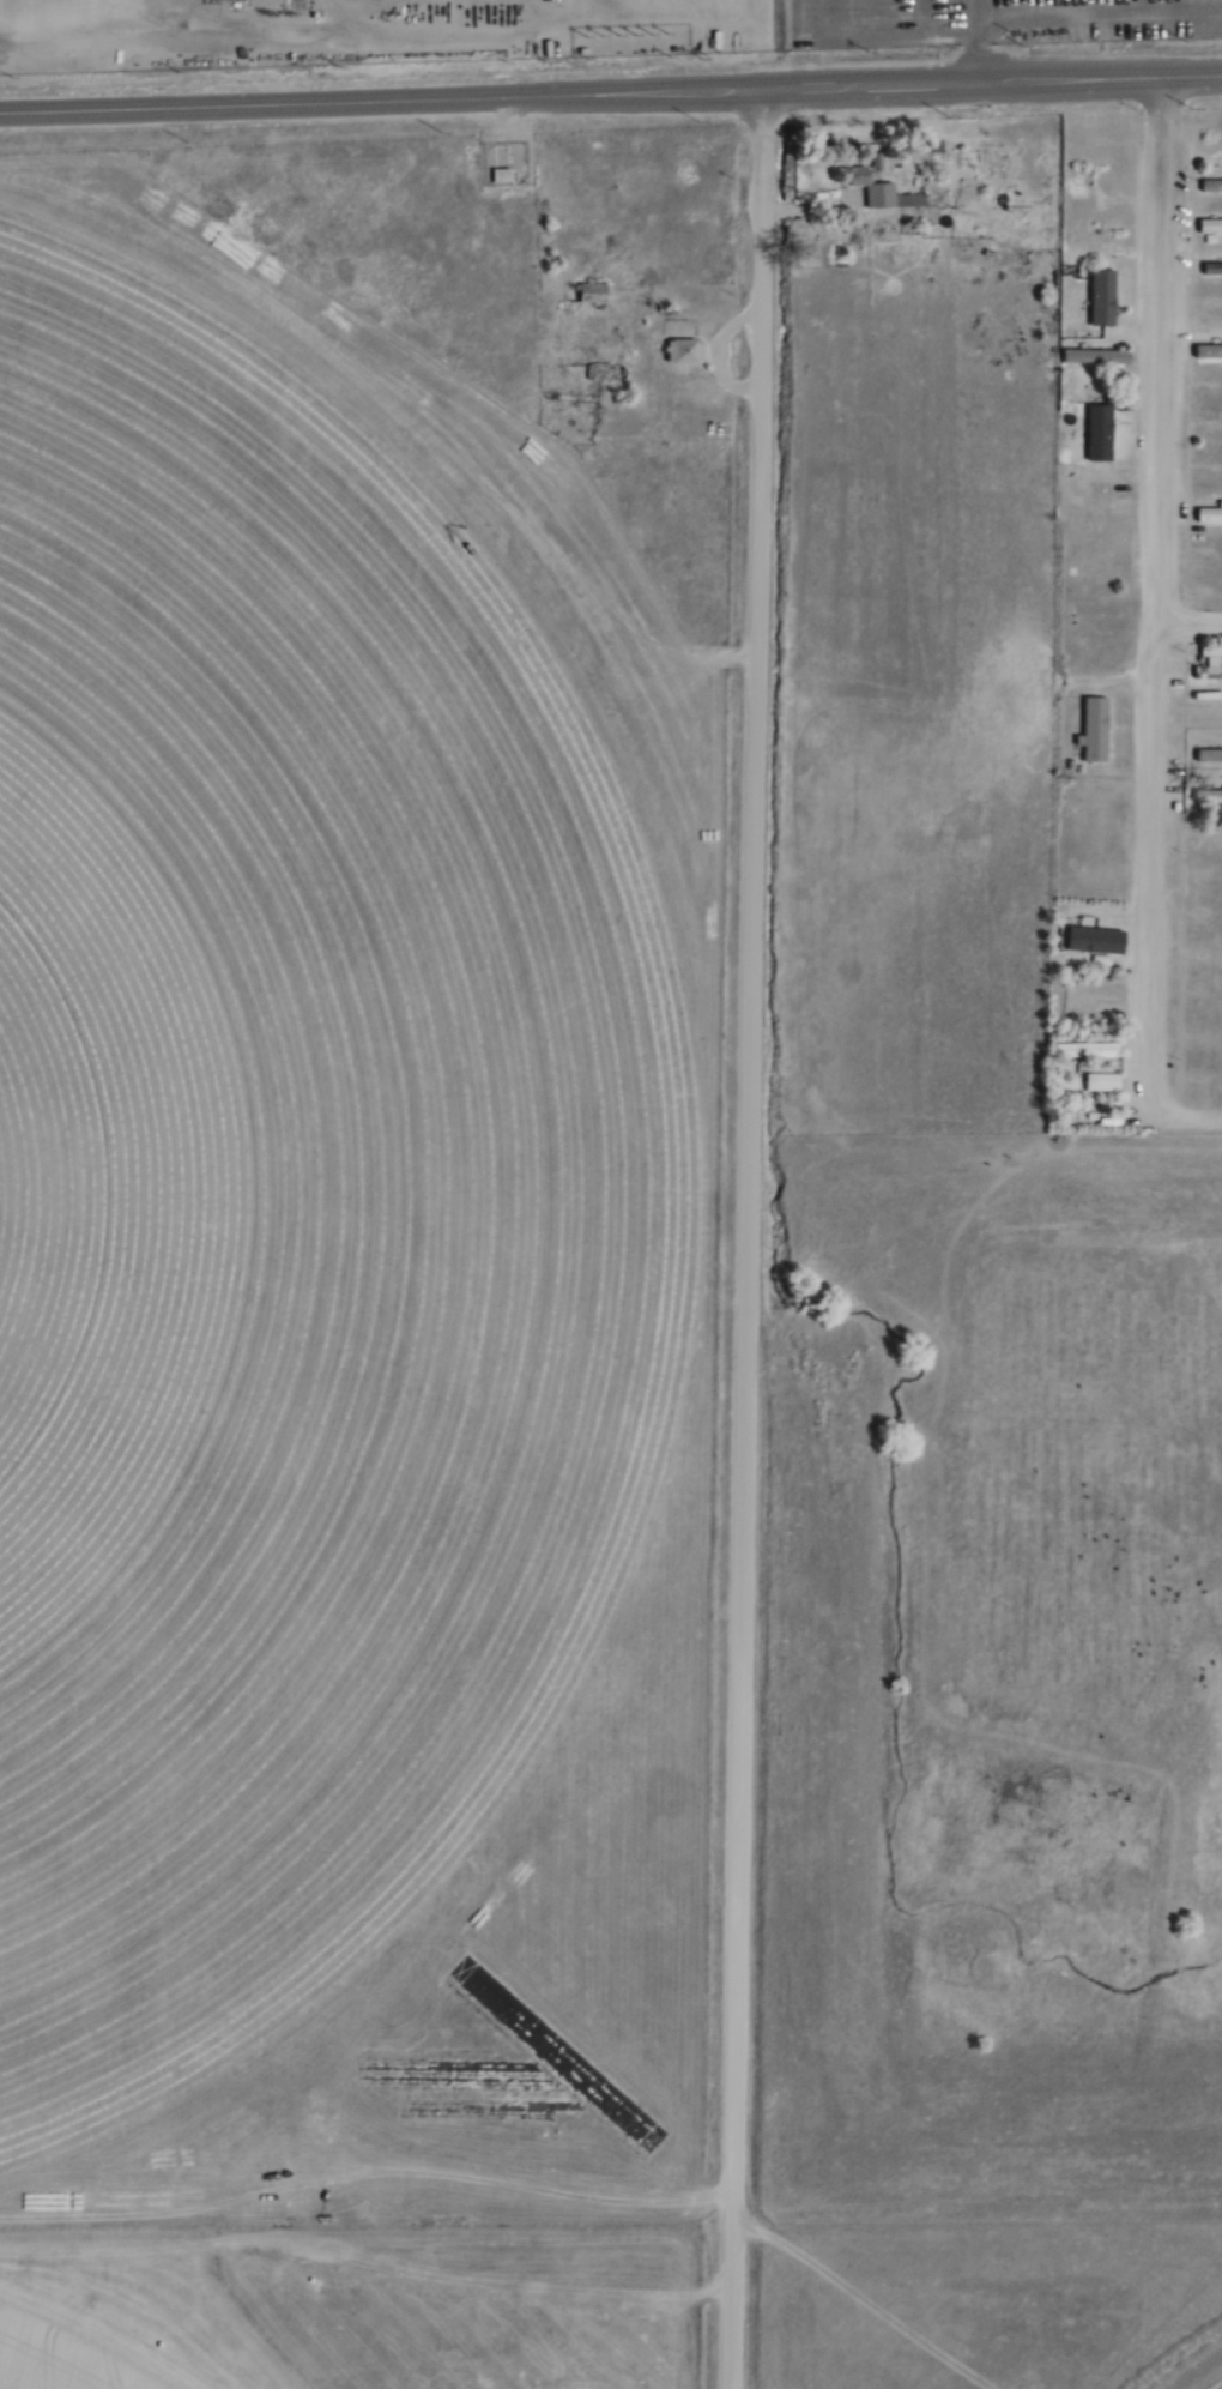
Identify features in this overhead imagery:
road: (981, 41)
building: (739, 42)
road: (611, 93)
building: (926, 147)
building: (967, 159)
building: (498, 165)
building: (1209, 186)
building: (876, 191)
building: (1100, 198)
building: (1208, 227)
building: (1220, 269)
building: (592, 292)
building: (1100, 298)
building: (680, 351)
building: (1206, 351)
building: (1091, 357)
building: (605, 373)
building: (1097, 433)
building: (1101, 503)
road: (1159, 596)
road: (1190, 627)
building: (1206, 674)
building: (1093, 730)
building: (1206, 755)
building: (1091, 941)
building: (1083, 1050)
building: (1099, 1082)
road: (1185, 1115)
road: (748, 1239)

